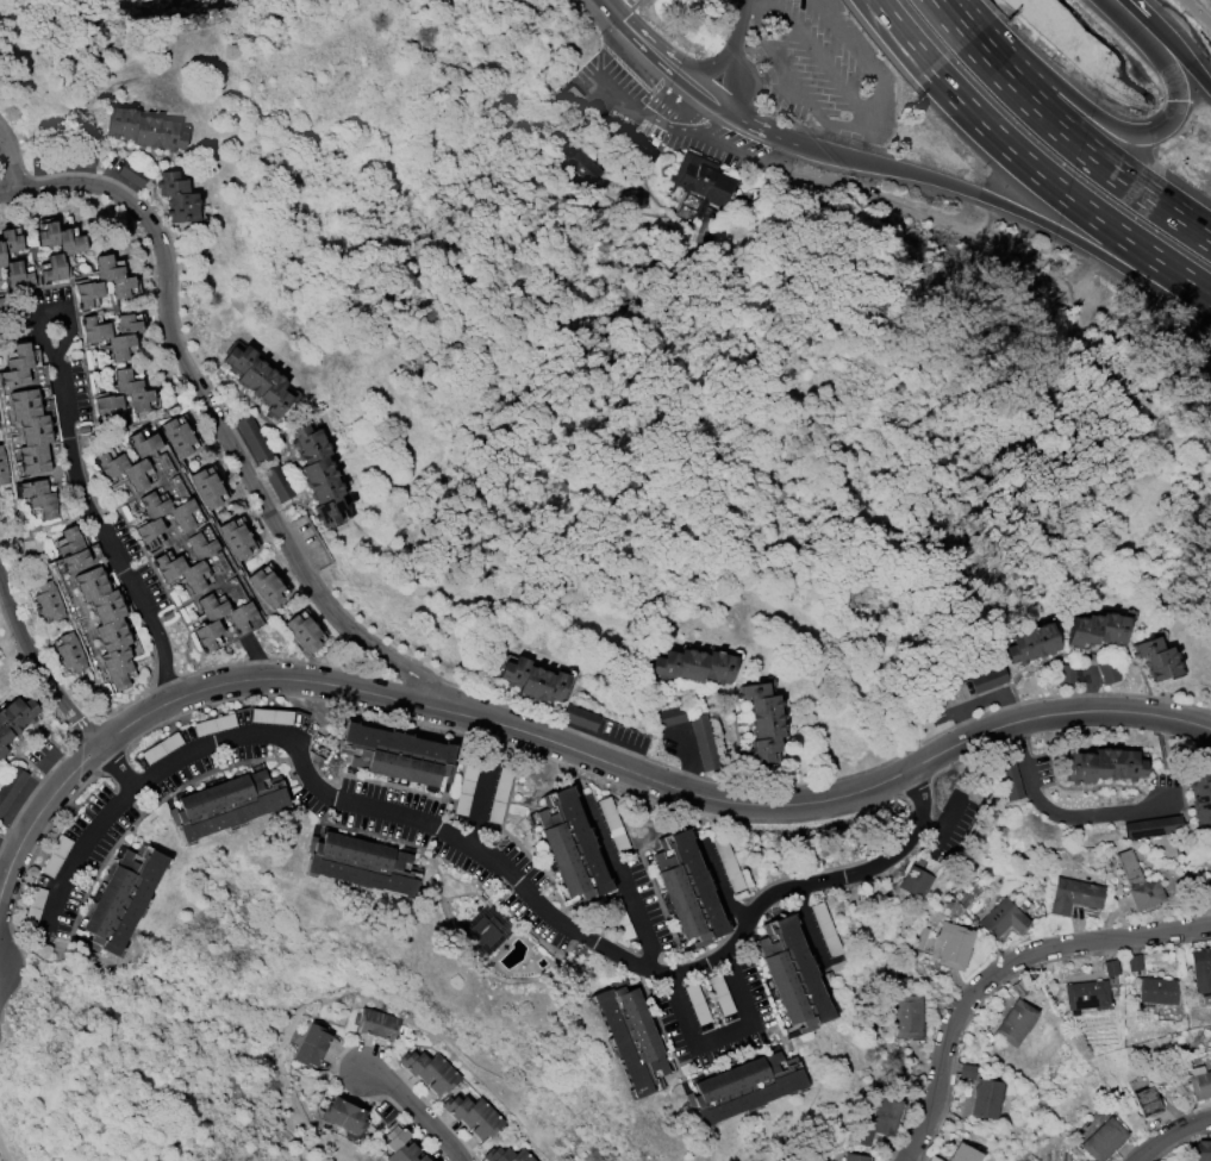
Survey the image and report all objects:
road: (1119, 4)
road: (611, 6)
road: (623, 6)
road: (1197, 13)
road: (949, 20)
road: (739, 23)
road: (901, 37)
road: (645, 43)
road: (1169, 46)
road: (813, 54)
road: (711, 68)
road: (730, 77)
road: (700, 90)
road: (624, 102)
road: (668, 124)
road: (853, 127)
road: (757, 129)
building: (144, 130)
road: (1122, 130)
road: (725, 148)
road: (1082, 148)
road: (14, 158)
building: (581, 166)
building: (130, 174)
building: (701, 181)
road: (1063, 194)
building: (177, 198)
road: (1012, 208)
building: (68, 252)
building: (2, 256)
building: (123, 282)
building: (2, 306)
building: (120, 338)
building: (17, 366)
building: (257, 379)
building: (141, 394)
road: (221, 425)
building: (0, 427)
building: (31, 431)
building: (177, 437)
building: (252, 439)
building: (111, 462)
building: (2, 468)
road: (74, 473)
building: (318, 474)
building: (277, 483)
building: (206, 488)
building: (39, 497)
building: (183, 522)
building: (236, 539)
building: (71, 550)
building: (169, 564)
building: (267, 587)
building: (49, 601)
building: (106, 625)
building: (210, 625)
building: (1098, 629)
building: (304, 632)
building: (1032, 644)
building: (70, 653)
building: (1156, 658)
road: (38, 661)
building: (695, 666)
building: (1107, 673)
building: (1066, 675)
road: (301, 680)
building: (533, 680)
building: (988, 680)
building: (669, 717)
building: (14, 718)
building: (580, 718)
building: (762, 720)
road: (1160, 725)
road: (120, 730)
building: (704, 743)
building: (397, 755)
road: (688, 762)
building: (1103, 766)
road: (118, 767)
road: (576, 774)
building: (1010, 781)
road: (1166, 787)
building: (11, 788)
building: (500, 794)
building: (1200, 797)
road: (838, 799)
building: (226, 804)
road: (491, 806)
road: (1065, 811)
road: (38, 813)
road: (951, 820)
building: (1153, 826)
building: (572, 847)
road: (85, 855)
building: (362, 864)
building: (1210, 881)
building: (916, 882)
building: (1137, 882)
road: (633, 888)
road: (731, 888)
building: (687, 890)
building: (1073, 895)
building: (121, 899)
road: (564, 918)
building: (1003, 918)
road: (819, 925)
building: (483, 931)
building: (954, 944)
building: (1110, 967)
building: (1200, 969)
road: (999, 972)
building: (792, 975)
building: (1156, 991)
building: (1086, 995)
building: (907, 1016)
building: (1015, 1023)
building: (377, 1024)
building: (631, 1037)
road: (737, 1043)
building: (311, 1045)
building: (413, 1061)
building: (431, 1069)
building: (443, 1081)
building: (1199, 1082)
building: (742, 1087)
building: (985, 1099)
building: (1146, 1103)
building: (455, 1106)
road: (416, 1111)
building: (474, 1112)
building: (885, 1115)
building: (344, 1116)
building: (486, 1125)
building: (395, 1136)
road: (1176, 1136)
building: (1104, 1140)
road: (5, 1143)
building: (1201, 1150)
building: (402, 1153)
building: (962, 1154)
building: (498, 1155)
building: (522, 1156)
building: (855, 1157)
building: (419, 1159)

